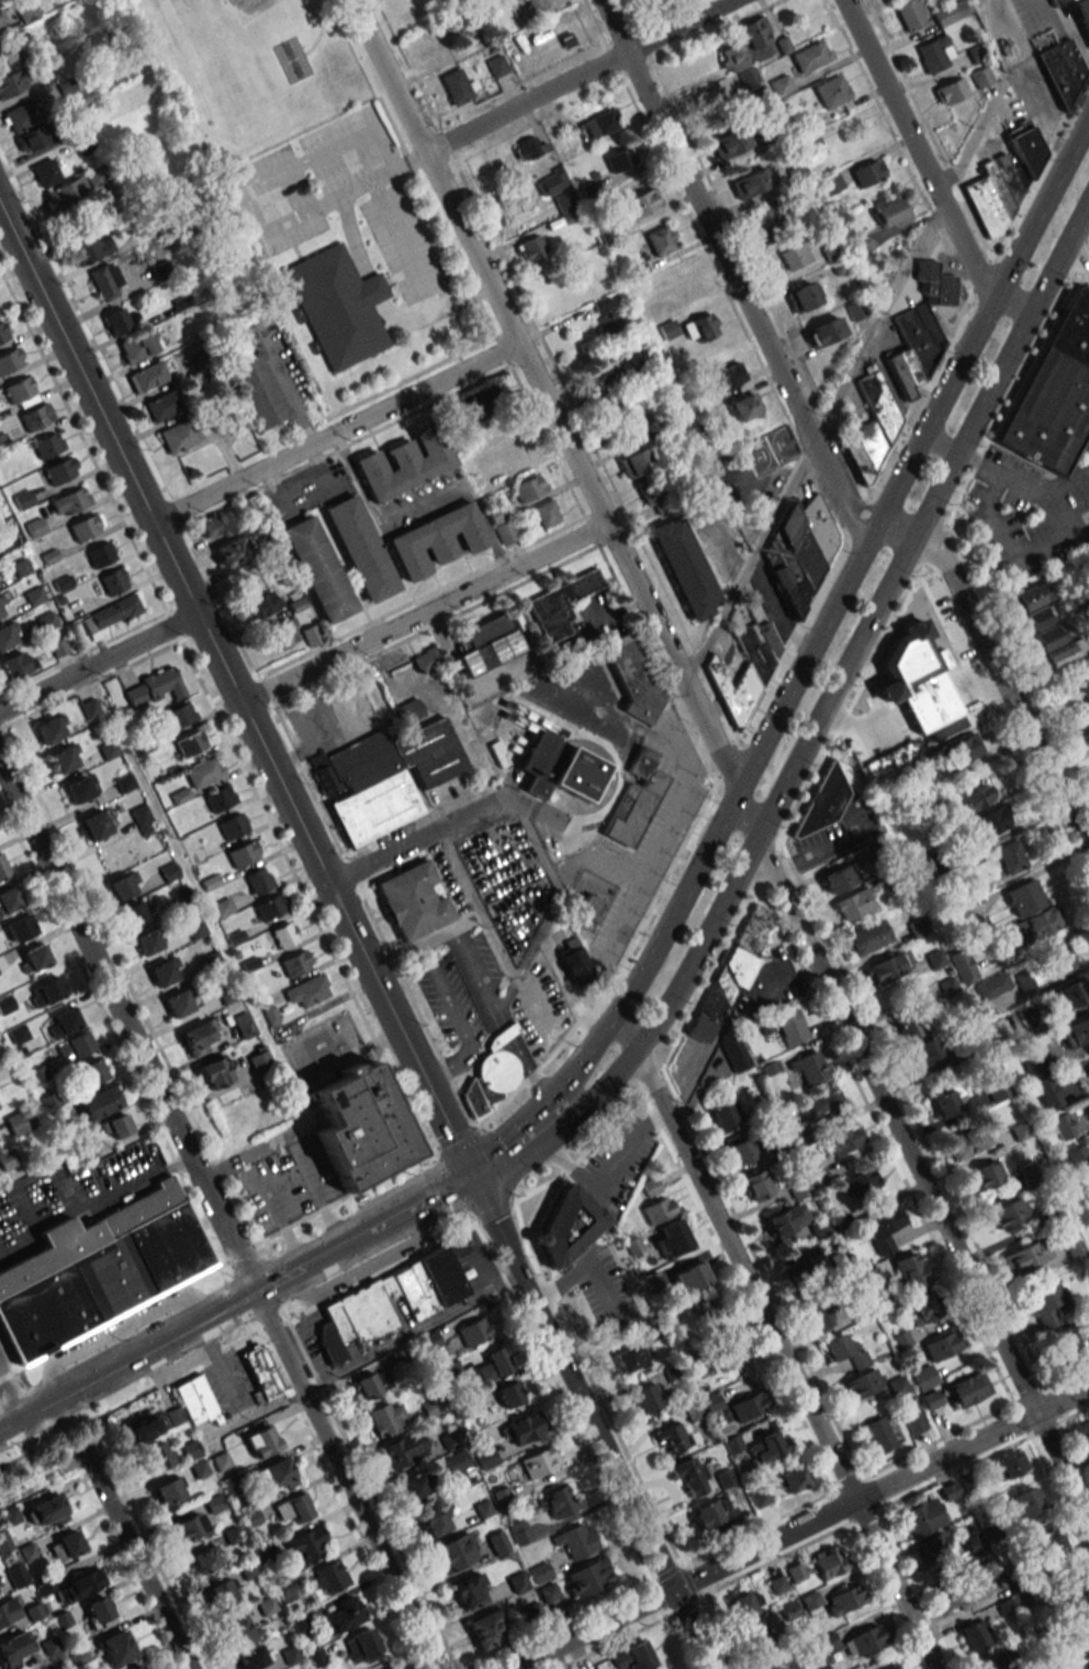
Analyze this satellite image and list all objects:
building: (1074, 1)
building: (1055, 2)
building: (537, 8)
building: (27, 12)
building: (947, 13)
building: (909, 14)
building: (1, 16)
road: (325, 24)
building: (462, 29)
building: (756, 34)
road: (317, 42)
building: (5, 52)
building: (934, 54)
building: (977, 54)
building: (810, 56)
park: (292, 60)
building: (495, 65)
park: (254, 68)
building: (1062, 68)
road: (580, 76)
building: (981, 77)
building: (11, 82)
building: (781, 85)
building: (456, 86)
building: (831, 90)
building: (950, 90)
building: (21, 115)
building: (599, 122)
building: (31, 138)
building: (729, 143)
building: (529, 148)
building: (812, 148)
building: (620, 158)
road: (921, 158)
building: (867, 171)
building: (45, 172)
building: (1002, 180)
building: (551, 181)
building: (751, 182)
building: (63, 193)
building: (563, 202)
building: (640, 202)
building: (892, 210)
building: (569, 216)
road: (1085, 219)
building: (771, 221)
building: (607, 231)
building: (660, 239)
building: (861, 244)
road: (404, 246)
building: (90, 247)
building: (530, 248)
building: (832, 251)
road: (1079, 254)
building: (795, 256)
road: (1082, 261)
building: (104, 279)
road: (739, 280)
building: (938, 284)
building: (801, 296)
building: (336, 304)
road: (1022, 310)
building: (650, 315)
building: (116, 322)
building: (609, 323)
building: (699, 326)
building: (928, 326)
building: (667, 329)
building: (3, 332)
building: (824, 332)
building: (914, 341)
building: (136, 346)
building: (10, 360)
building: (908, 368)
building: (147, 376)
building: (599, 376)
building: (726, 377)
building: (899, 378)
road: (843, 381)
building: (20, 388)
road: (285, 389)
building: (255, 390)
building: (1055, 390)
building: (495, 397)
road: (1011, 401)
building: (614, 404)
building: (162, 405)
building: (744, 406)
building: (879, 407)
road: (551, 410)
building: (35, 416)
building: (503, 430)
road: (936, 430)
road: (336, 433)
building: (179, 436)
building: (3, 441)
building: (49, 444)
building: (872, 446)
building: (517, 458)
building: (857, 461)
building: (635, 462)
road: (977, 463)
building: (404, 464)
building: (59, 470)
building: (526, 490)
building: (649, 491)
road: (1043, 495)
building: (23, 499)
building: (69, 500)
building: (546, 514)
building: (502, 525)
building: (85, 526)
building: (215, 526)
building: (35, 527)
road: (868, 536)
building: (437, 538)
building: (8, 541)
road: (934, 546)
building: (359, 548)
building: (232, 551)
building: (799, 551)
road: (1012, 553)
building: (100, 555)
building: (20, 567)
building: (684, 568)
building: (318, 569)
building: (113, 581)
building: (1031, 595)
building: (0, 601)
building: (261, 604)
building: (561, 604)
building: (123, 608)
building: (0, 614)
road: (425, 614)
building: (1037, 617)
building: (46, 621)
building: (7, 634)
building: (282, 634)
building: (312, 635)
building: (1049, 636)
building: (770, 638)
building: (489, 646)
power substation: (489, 646)
building: (59, 647)
building: (918, 647)
building: (754, 650)
building: (1063, 653)
building: (426, 660)
road: (99, 663)
building: (16, 664)
building: (633, 675)
road: (1006, 682)
road: (835, 685)
building: (154, 687)
building: (734, 690)
building: (1085, 691)
road: (237, 695)
road: (850, 706)
building: (409, 710)
building: (954, 712)
building: (179, 715)
building: (53, 728)
building: (1086, 732)
road: (1006, 741)
building: (190, 743)
building: (964, 748)
building: (430, 753)
building: (363, 760)
building: (559, 766)
building: (647, 770)
building: (203, 772)
building: (80, 788)
building: (218, 798)
building: (973, 800)
building: (821, 803)
building: (375, 807)
building: (629, 813)
building: (141, 816)
building: (990, 821)
building: (96, 825)
building: (232, 826)
road: (409, 841)
parking lot: (641, 843)
building: (243, 853)
road: (543, 855)
building: (1010, 855)
parking lot: (499, 858)
road: (767, 864)
building: (1, 867)
building: (839, 877)
building: (259, 880)
building: (124, 885)
building: (1024, 897)
building: (9, 899)
building: (412, 900)
road: (478, 904)
building: (854, 904)
building: (590, 905)
building: (271, 907)
parking lot: (520, 912)
building: (133, 914)
building: (1034, 925)
building: (20, 928)
building: (285, 934)
building: (867, 937)
building: (147, 941)
road: (426, 942)
road: (329, 948)
road: (529, 956)
building: (34, 957)
building: (575, 960)
building: (293, 964)
building: (962, 965)
building: (734, 967)
building: (886, 967)
building: (1045, 971)
building: (165, 972)
parking lot: (478, 974)
road: (709, 976)
road: (476, 978)
road: (569, 985)
building: (992, 986)
building: (307, 990)
building: (45, 993)
building: (1067, 995)
road: (504, 996)
building: (181, 1001)
parking lot: (450, 1007)
building: (64, 1021)
road: (459, 1021)
building: (907, 1021)
building: (243, 1024)
building: (790, 1028)
road: (616, 1031)
building: (997, 1031)
building: (1076, 1031)
road: (504, 1033)
building: (199, 1037)
road: (595, 1044)
road: (629, 1044)
building: (74, 1046)
building: (733, 1051)
building: (924, 1051)
building: (259, 1060)
building: (1088, 1065)
building: (808, 1067)
building: (92, 1072)
building: (214, 1072)
road: (530, 1073)
building: (493, 1074)
road: (652, 1080)
building: (1042, 1080)
building: (996, 1087)
building: (98, 1102)
building: (944, 1104)
building: (817, 1113)
building: (726, 1114)
road: (914, 1118)
building: (19, 1121)
building: (360, 1125)
building: (1063, 1125)
building: (115, 1127)
building: (842, 1140)
building: (967, 1142)
road: (887, 1145)
building: (87, 1151)
building: (739, 1151)
road: (584, 1153)
road: (506, 1156)
building: (8, 1158)
building: (1078, 1161)
road: (918, 1166)
building: (1029, 1172)
building: (985, 1174)
traffic signals: (474, 1183)
parking lot: (287, 1184)
building: (863, 1184)
building: (756, 1185)
road: (319, 1198)
building: (655, 1201)
road: (541, 1211)
building: (1080, 1211)
building: (1007, 1213)
road: (220, 1216)
road: (456, 1216)
road: (398, 1220)
building: (786, 1221)
building: (566, 1224)
building: (883, 1226)
building: (672, 1239)
building: (1075, 1250)
building: (1026, 1256)
road: (215, 1264)
building: (100, 1268)
building: (912, 1269)
road: (763, 1275)
building: (689, 1277)
road: (740, 1292)
building: (1044, 1304)
building: (927, 1307)
building: (357, 1310)
building: (706, 1314)
building: (818, 1314)
building: (472, 1331)
road: (116, 1333)
road: (412, 1333)
building: (900, 1340)
road: (161, 1342)
building: (1066, 1342)
building: (941, 1346)
building: (844, 1351)
building: (728, 1353)
building: (629, 1358)
road: (787, 1359)
building: (492, 1364)
building: (259, 1371)
building: (923, 1378)
road: (1064, 1379)
building: (370, 1384)
road: (592, 1384)
building: (860, 1385)
building: (968, 1388)
building: (507, 1393)
road: (1030, 1394)
road: (10, 1396)
building: (644, 1398)
building: (197, 1400)
road: (1054, 1404)
building: (749, 1405)
road: (1071, 1415)
building: (385, 1416)
road: (1022, 1420)
road: (593, 1425)
building: (145, 1426)
building: (524, 1427)
road: (1046, 1429)
building: (878, 1434)
building: (670, 1438)
road: (939, 1440)
building: (261, 1442)
building: (732, 1444)
road: (1075, 1445)
building: (767, 1446)
building: (397, 1452)
building: (157, 1456)
building: (485, 1457)
building: (194, 1458)
building: (222, 1461)
building: (456, 1461)
building: (538, 1461)
building: (1010, 1465)
road: (955, 1471)
building: (277, 1475)
building: (692, 1476)
building: (725, 1478)
building: (792, 1480)
road: (849, 1482)
building: (413, 1485)
building: (169, 1493)
road: (869, 1493)
road: (1058, 1494)
building: (759, 1498)
building: (558, 1501)
building: (1023, 1502)
road: (844, 1506)
building: (293, 1508)
building: (48, 1512)
building: (714, 1513)
road: (865, 1516)
building: (920, 1517)
building: (435, 1520)
road: (760, 1526)
building: (189, 1527)
road: (800, 1527)
building: (519, 1532)
building: (575, 1539)
building: (1048, 1541)
building: (497, 1543)
building: (305, 1544)
building: (65, 1546)
building: (931, 1548)
building: (453, 1552)
building: (206, 1558)
road: (136, 1560)
road: (774, 1560)
building: (830, 1562)
building: (540, 1571)
building: (796, 1572)
building: (16, 1575)
building: (328, 1577)
building: (588, 1577)
road: (688, 1581)
building: (776, 1584)
building: (72, 1586)
road: (916, 1587)
traffic signals: (673, 1590)
building: (467, 1591)
building: (221, 1592)
road: (886, 1593)
building: (962, 1593)
building: (1068, 1593)
building: (844, 1599)
building: (810, 1600)
building: (745, 1603)
building: (788, 1610)
building: (8, 1611)
building: (34, 1612)
building: (98, 1612)
building: (343, 1614)
building: (486, 1628)
building: (1077, 1628)
building: (238, 1629)
road: (712, 1631)
building: (975, 1635)
building: (762, 1639)
building: (863, 1640)
building: (360, 1646)
building: (116, 1647)
building: (14, 1648)
building: (1079, 1650)
building: (78, 1655)
building: (291, 1655)
building: (314, 1657)
building: (632, 1657)
building: (992, 1662)
building: (778, 1666)
building: (135, 1667)
building: (892, 1667)
building: (1086, 1667)
building: (388, 1668)
building: (822, 1668)

